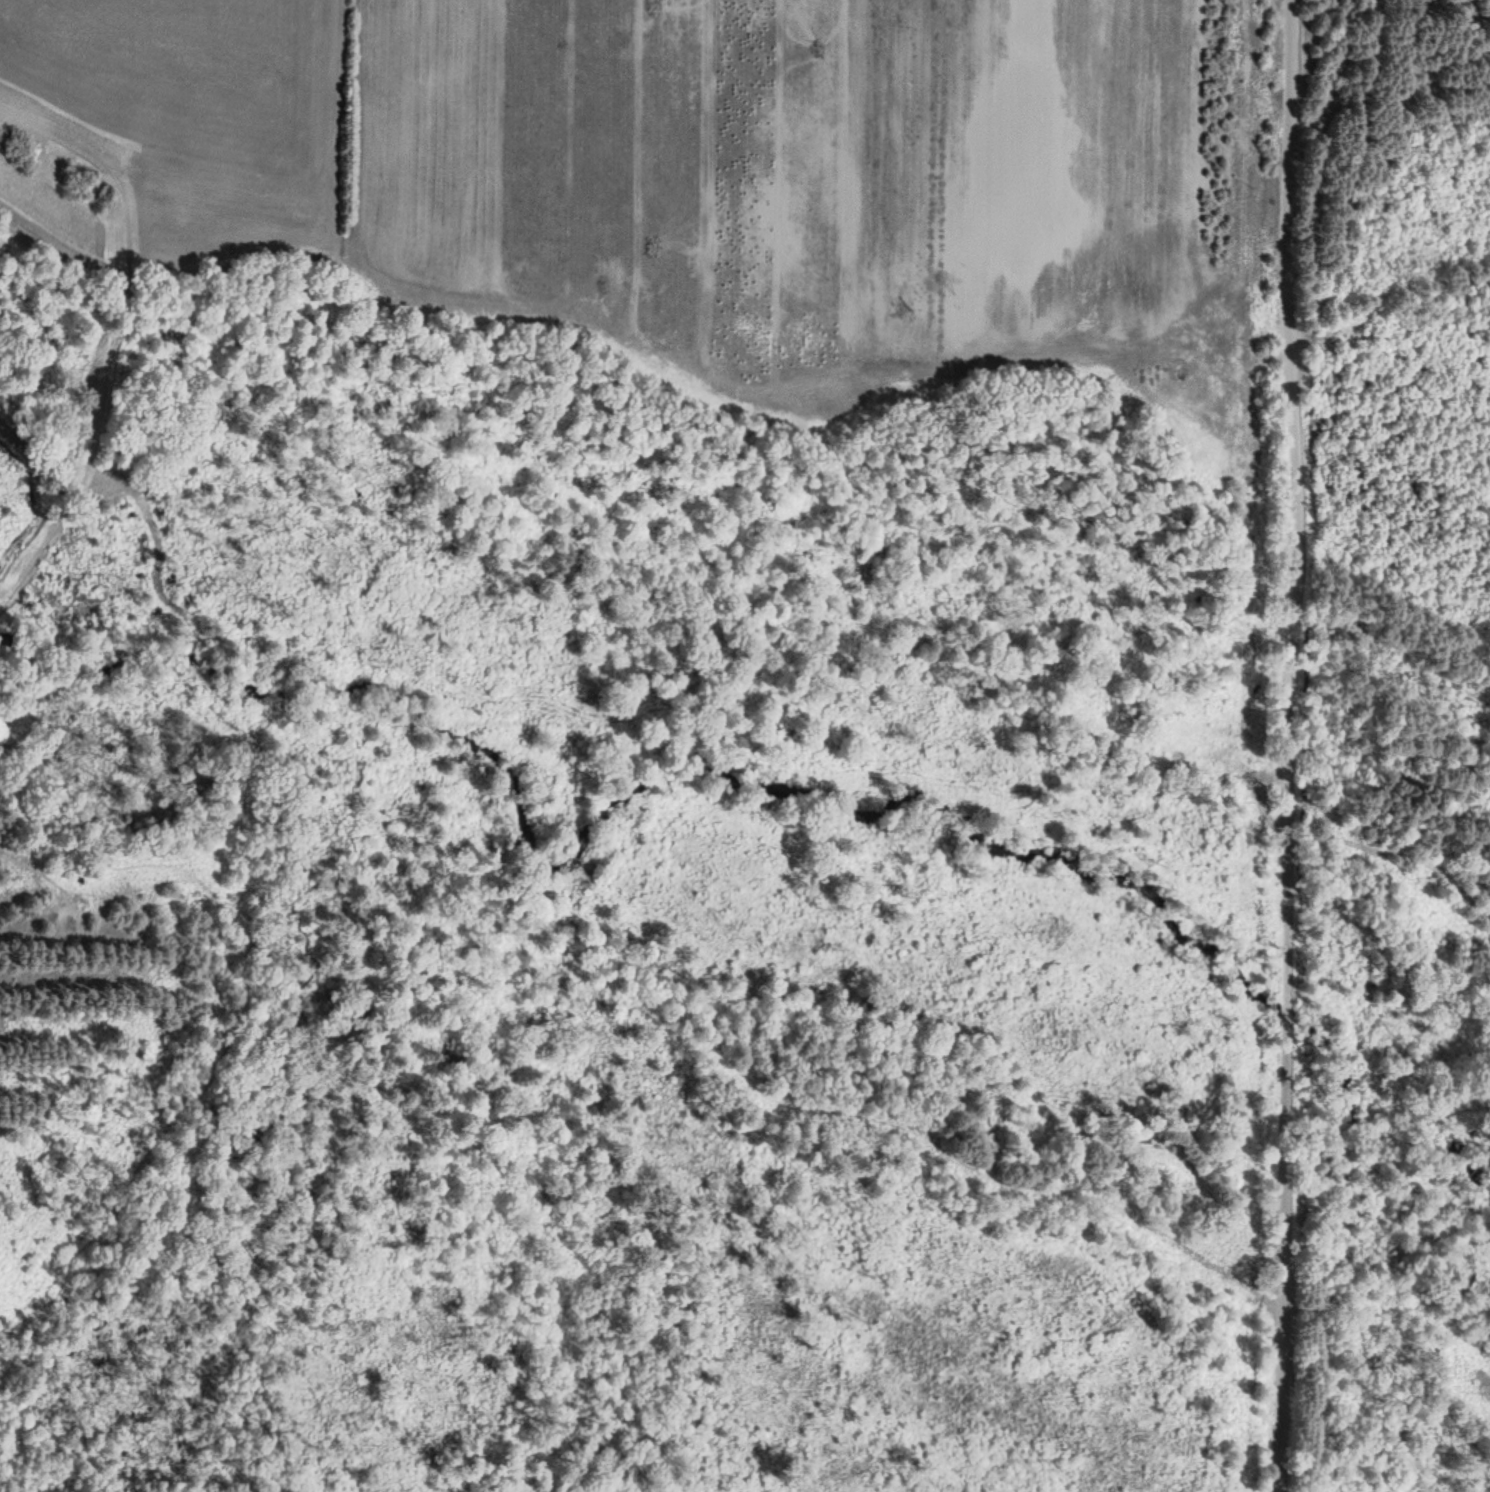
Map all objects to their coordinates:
road: (114, 334)
road: (1286, 493)
road: (1288, 1012)
road: (1190, 1249)
road: (1285, 1264)

